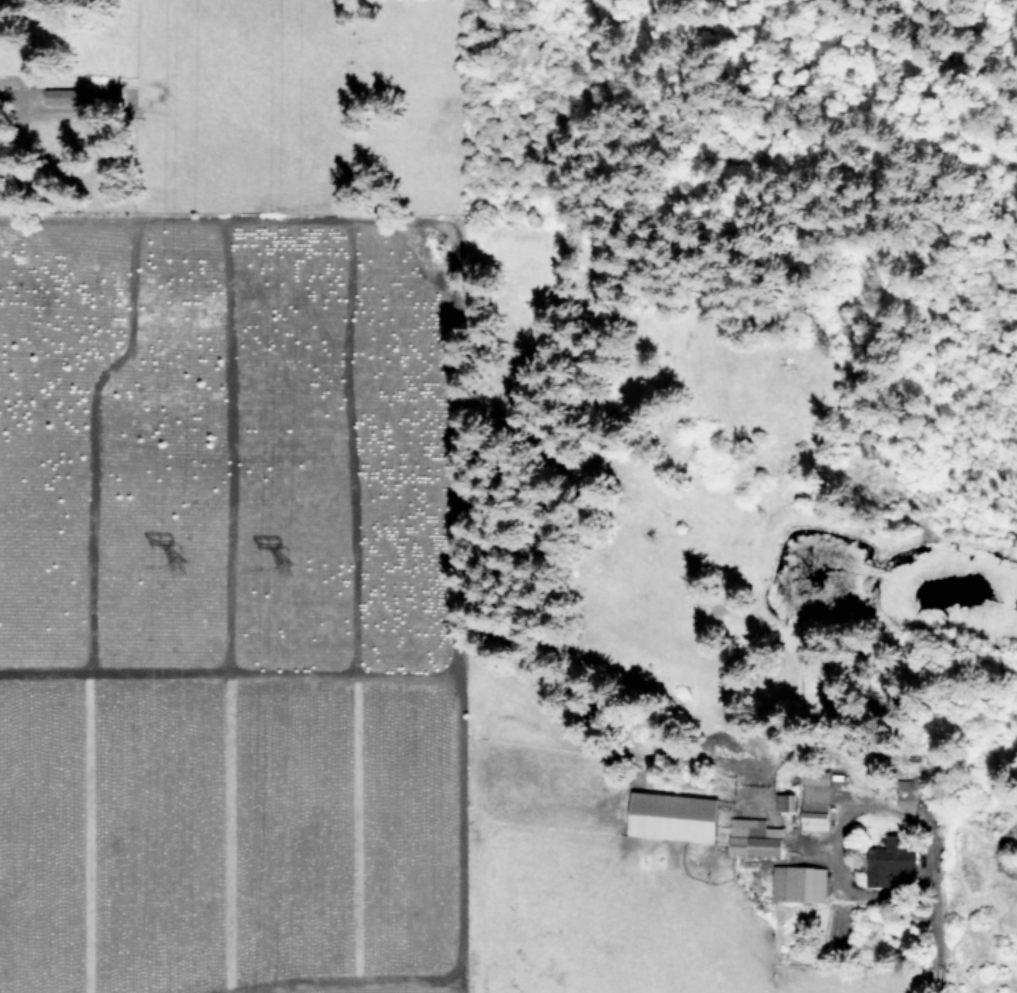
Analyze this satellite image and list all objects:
building: (63, 95)
power tower: (293, 575)
power tower: (189, 579)
building: (817, 799)
building: (786, 801)
building: (674, 816)
road: (843, 822)
building: (755, 837)
road: (995, 851)
building: (891, 860)
building: (800, 883)
road: (938, 942)

